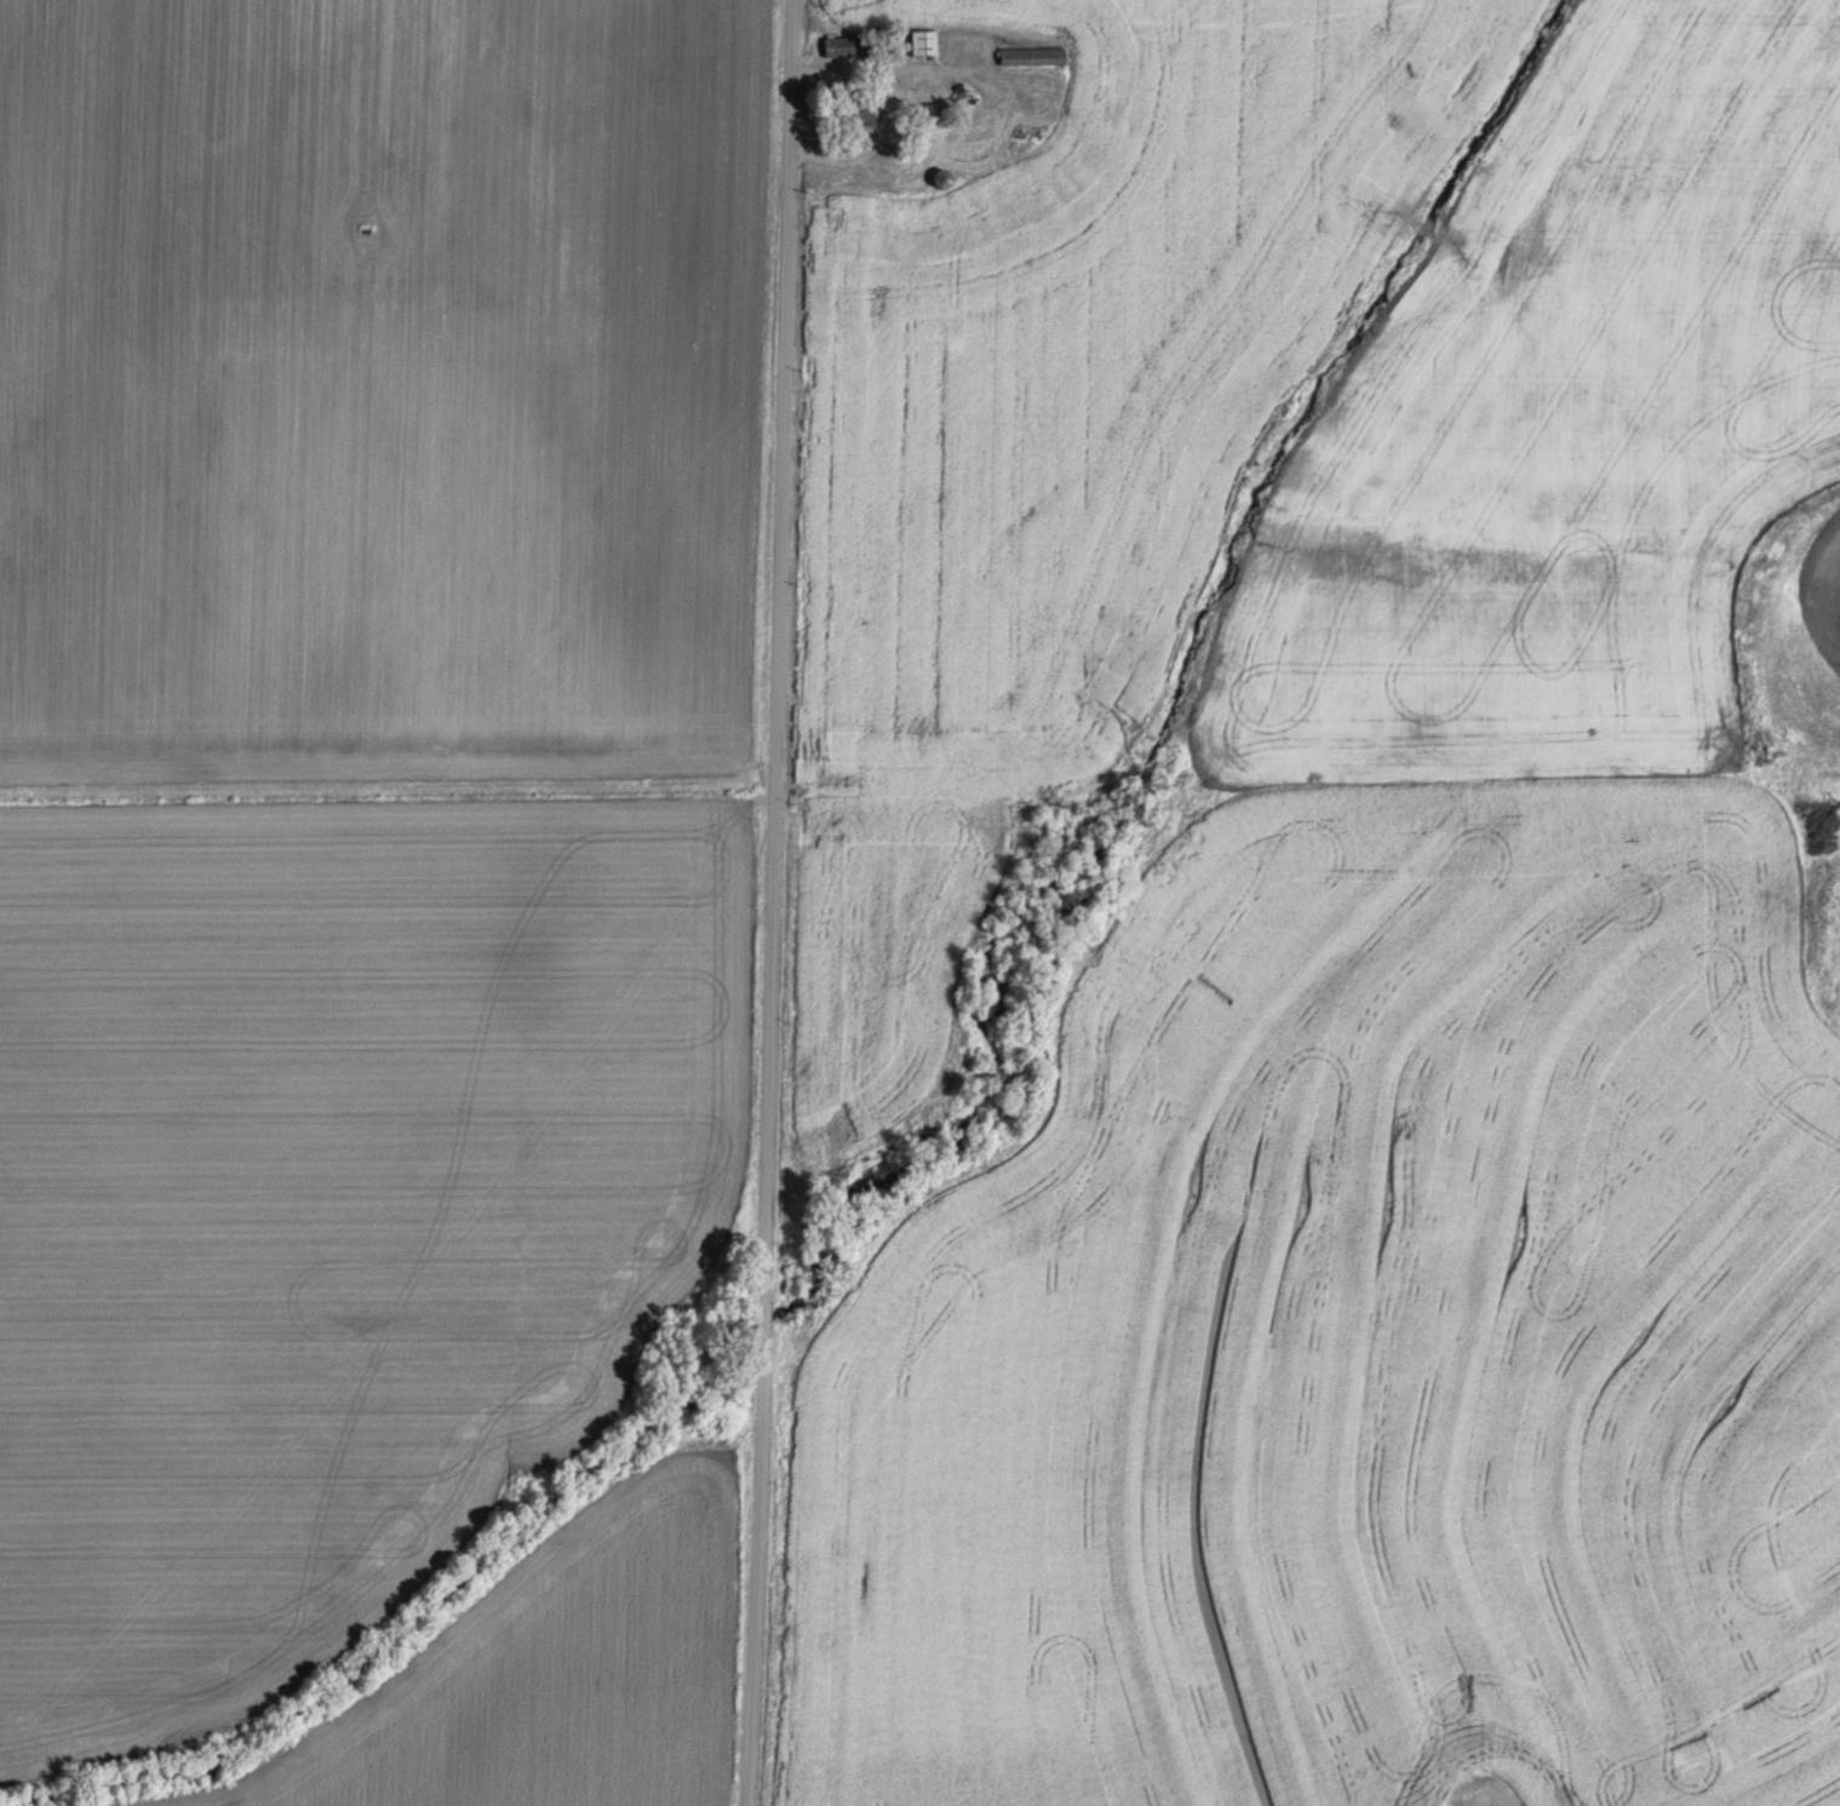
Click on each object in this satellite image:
building: (923, 42)
building: (850, 47)
building: (1028, 56)
road: (890, 109)
building: (862, 111)
building: (932, 111)
building: (944, 177)
road: (386, 787)
road: (772, 902)

